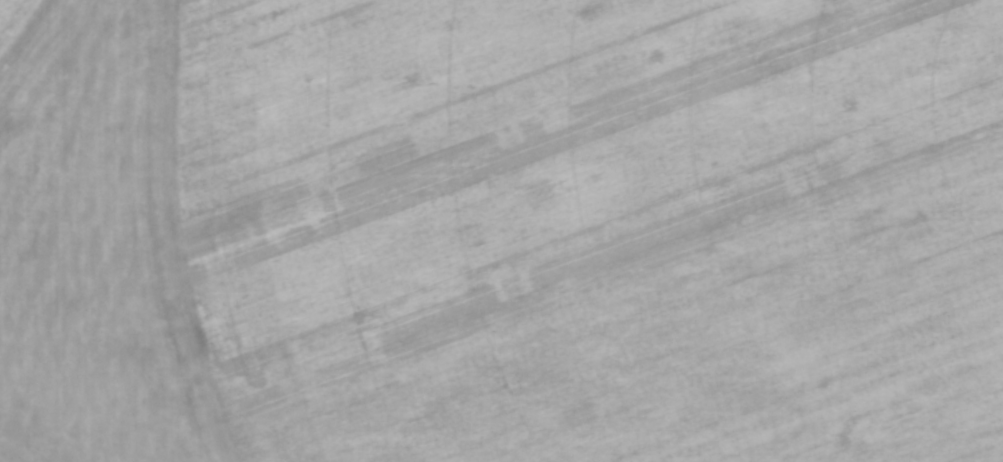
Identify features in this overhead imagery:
crop: (501, 231)

